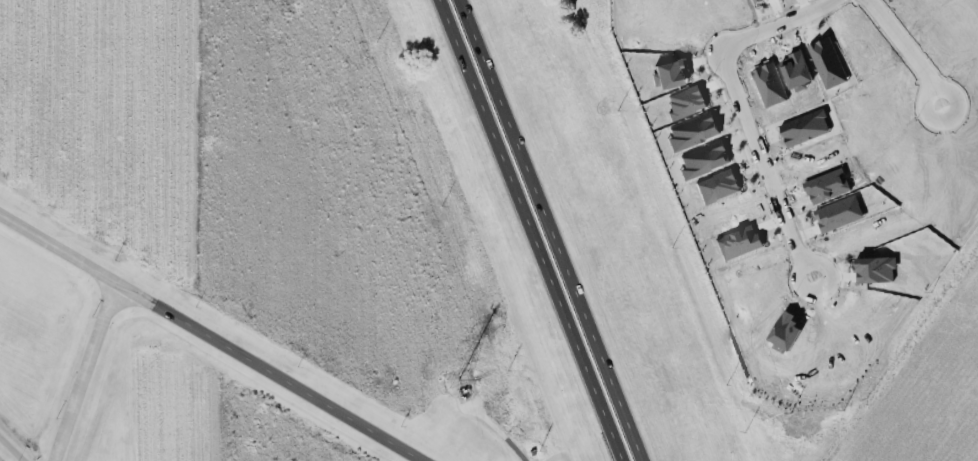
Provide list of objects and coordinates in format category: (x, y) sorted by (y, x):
road: (906, 51)
road: (742, 112)
crop: (275, 187)
road: (536, 230)
road: (555, 230)
road: (210, 338)
road: (82, 371)
power tower: (455, 380)
crop: (191, 419)
road: (504, 436)
road: (13, 447)

